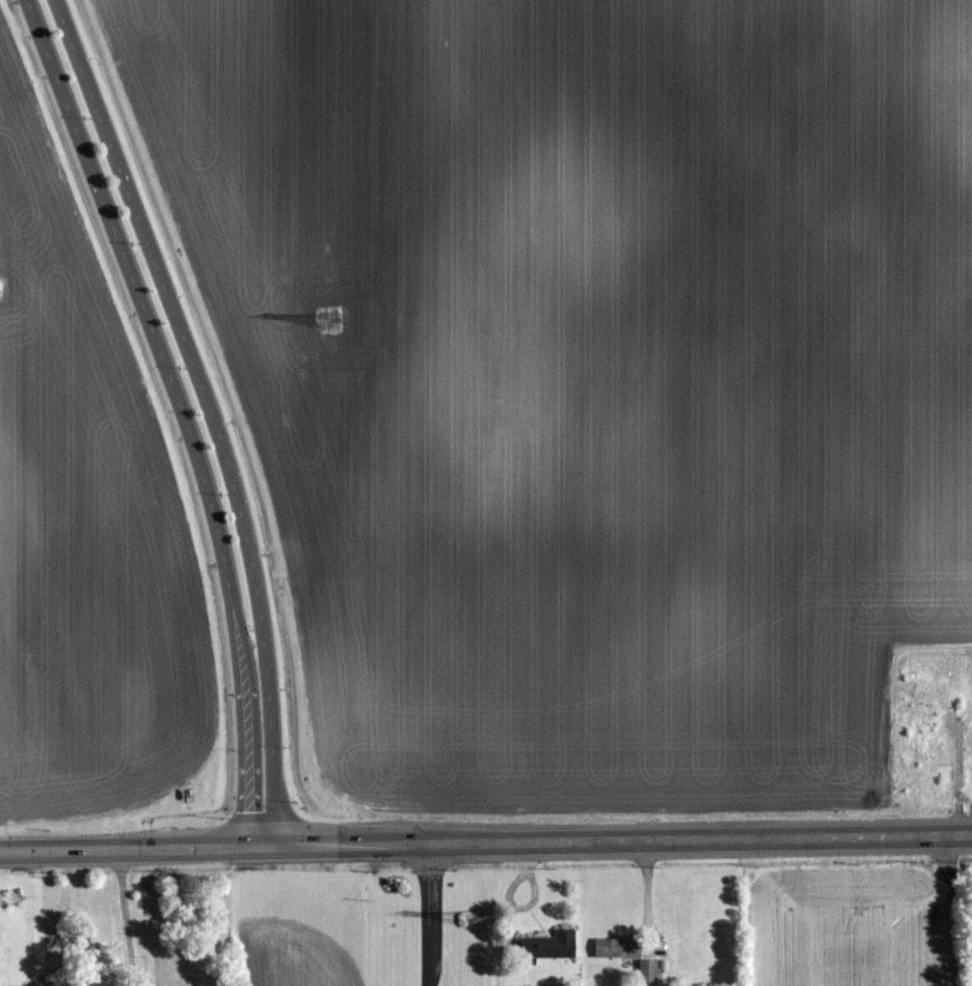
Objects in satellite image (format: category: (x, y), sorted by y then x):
power tower: (335, 318)
road: (183, 334)
road: (155, 337)
road: (261, 763)
road: (485, 843)
power tower: (13, 906)
road: (428, 915)
road: (126, 917)
power tower: (471, 918)
building: (547, 945)
building: (616, 947)

